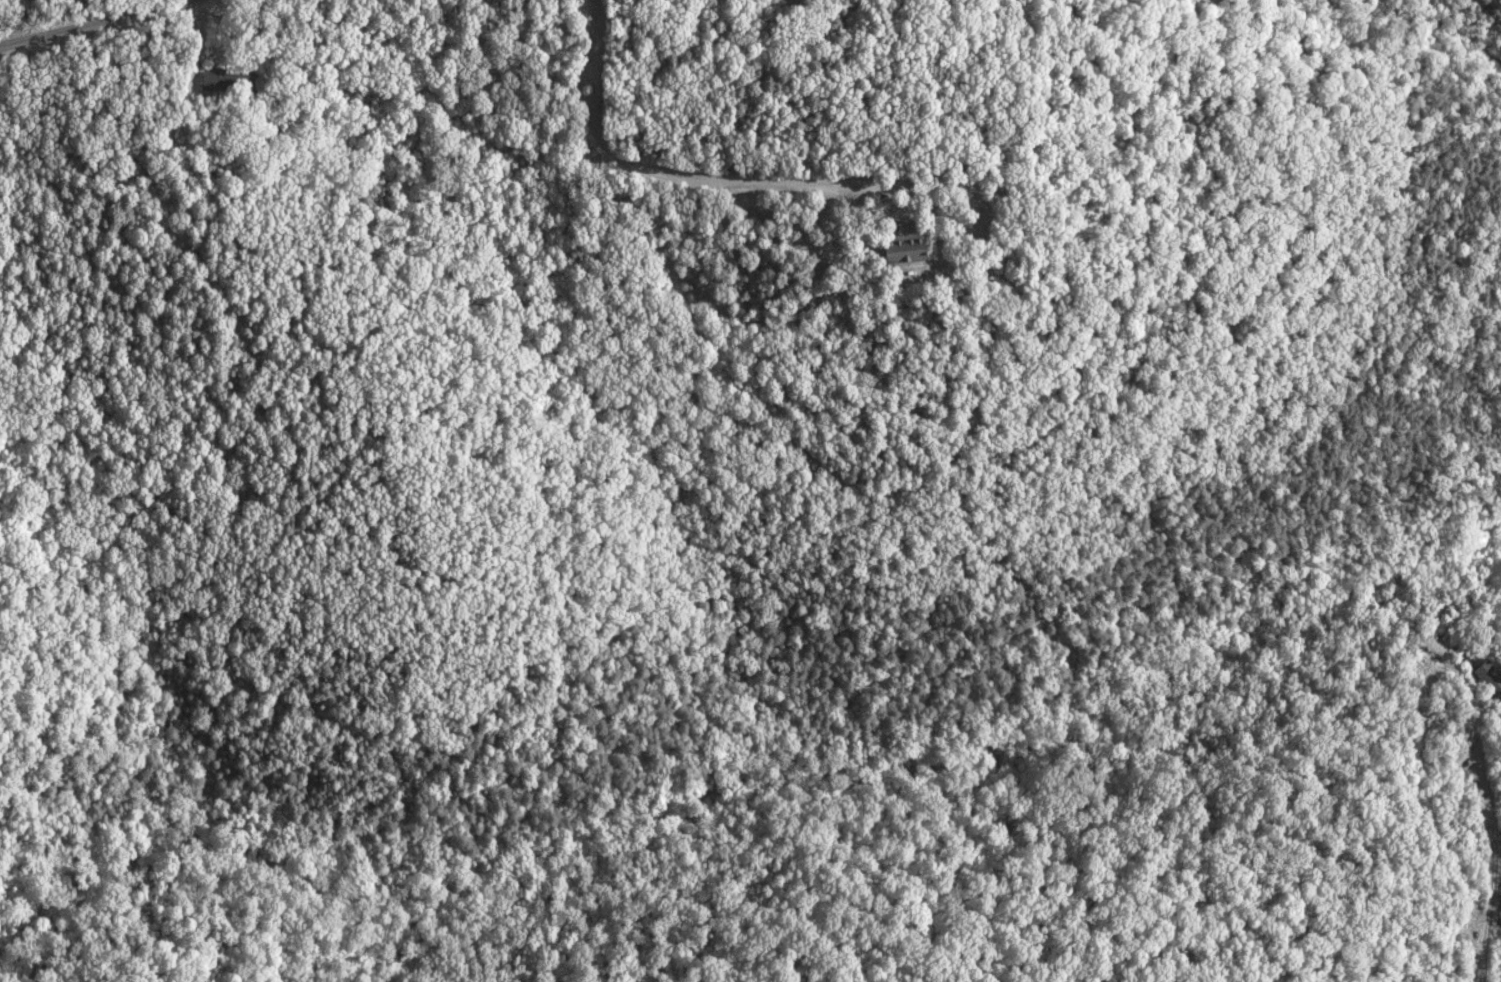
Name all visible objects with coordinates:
road: (97, 26)
building: (220, 81)
road: (810, 181)
building: (898, 248)
building: (1487, 679)
road: (1485, 836)

